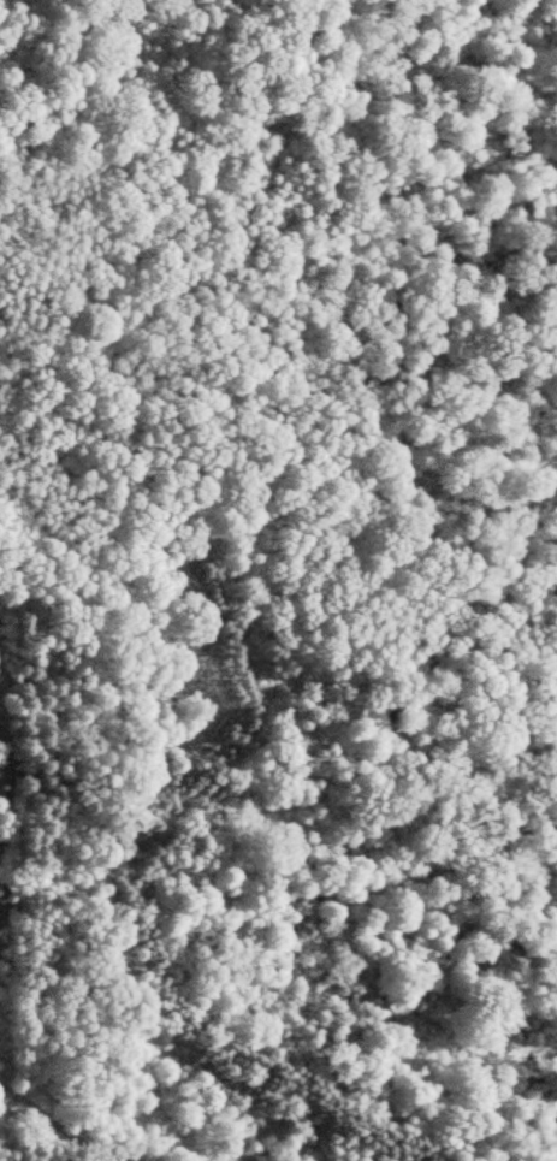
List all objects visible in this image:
road: (58, 1129)

